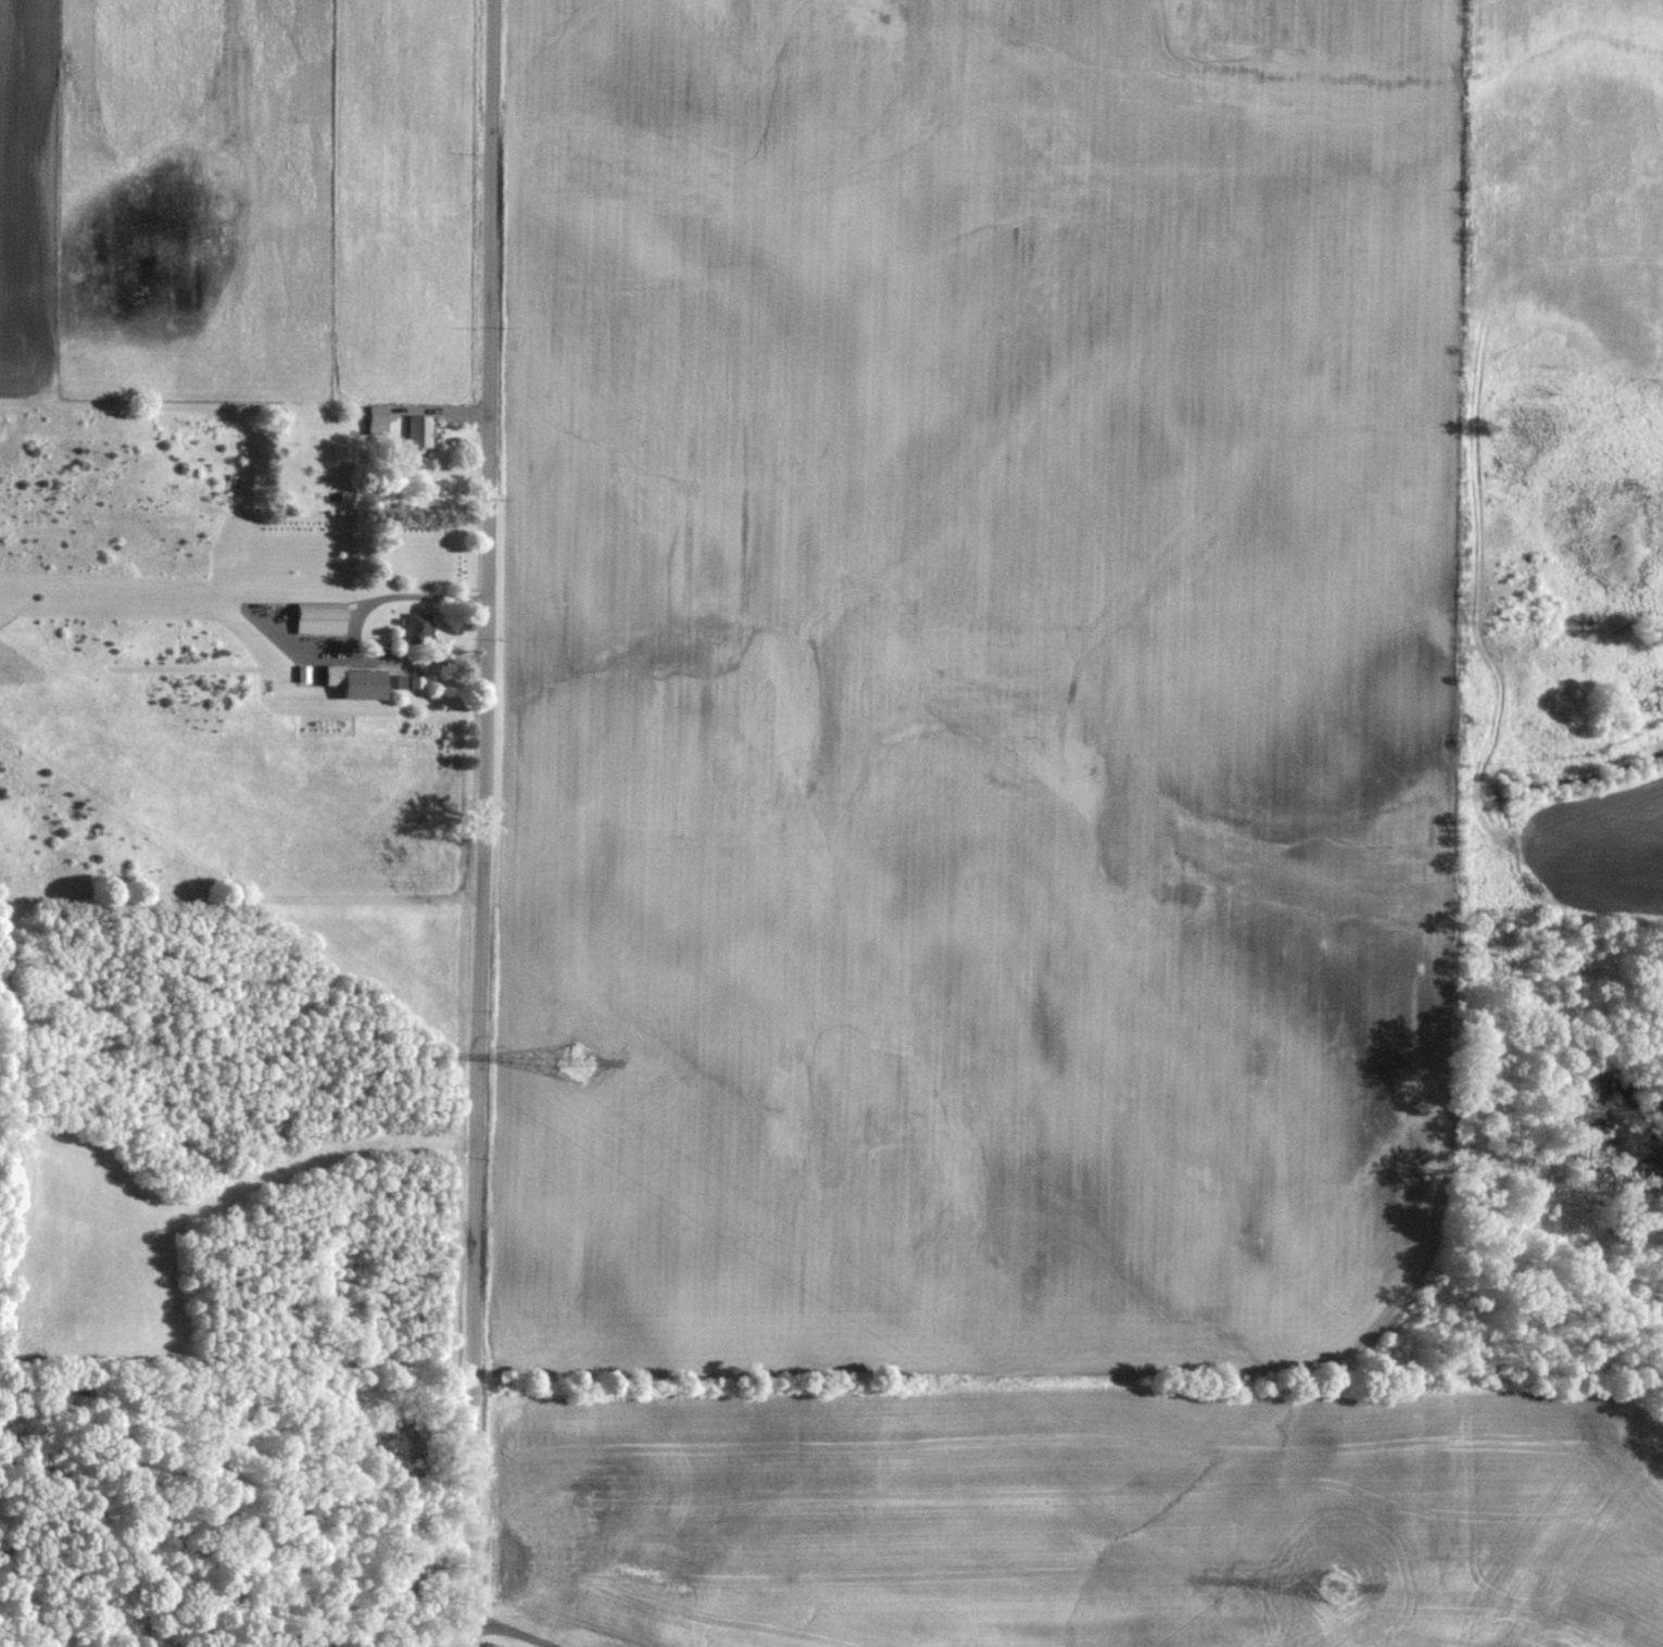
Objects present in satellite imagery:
building: (377, 423)
building: (419, 435)
road: (414, 598)
building: (325, 614)
building: (418, 628)
building: (399, 684)
building: (363, 686)
road: (484, 823)
power tower: (577, 1065)
power tower: (1334, 1592)
road: (355, 1643)

